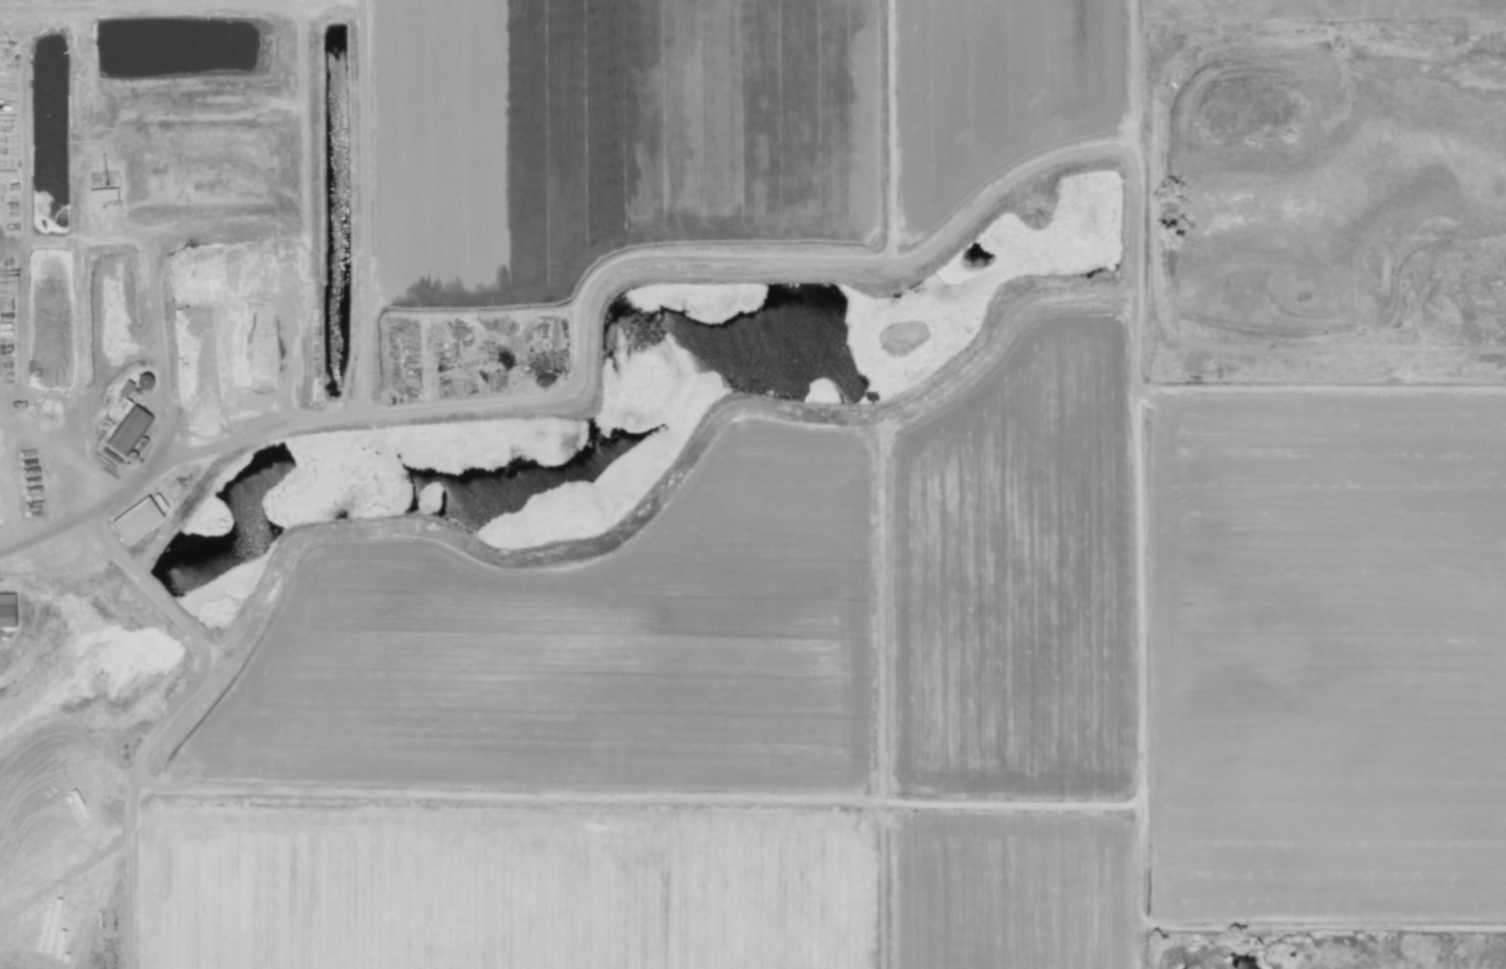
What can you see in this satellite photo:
road: (341, 413)
building: (128, 429)
road: (156, 447)
building: (136, 518)
building: (7, 609)
crop: (887, 697)

